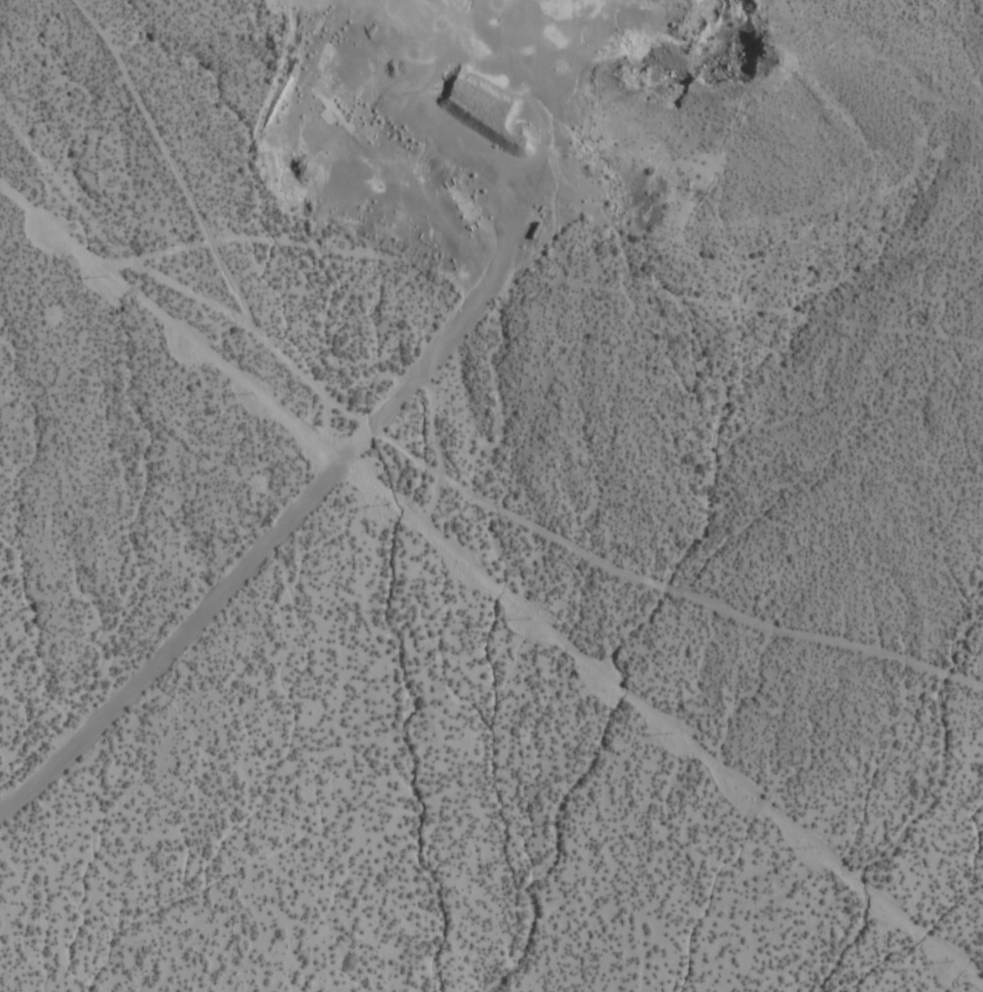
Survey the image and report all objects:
building: (188, 771)
building: (137, 900)
building: (50, 980)

